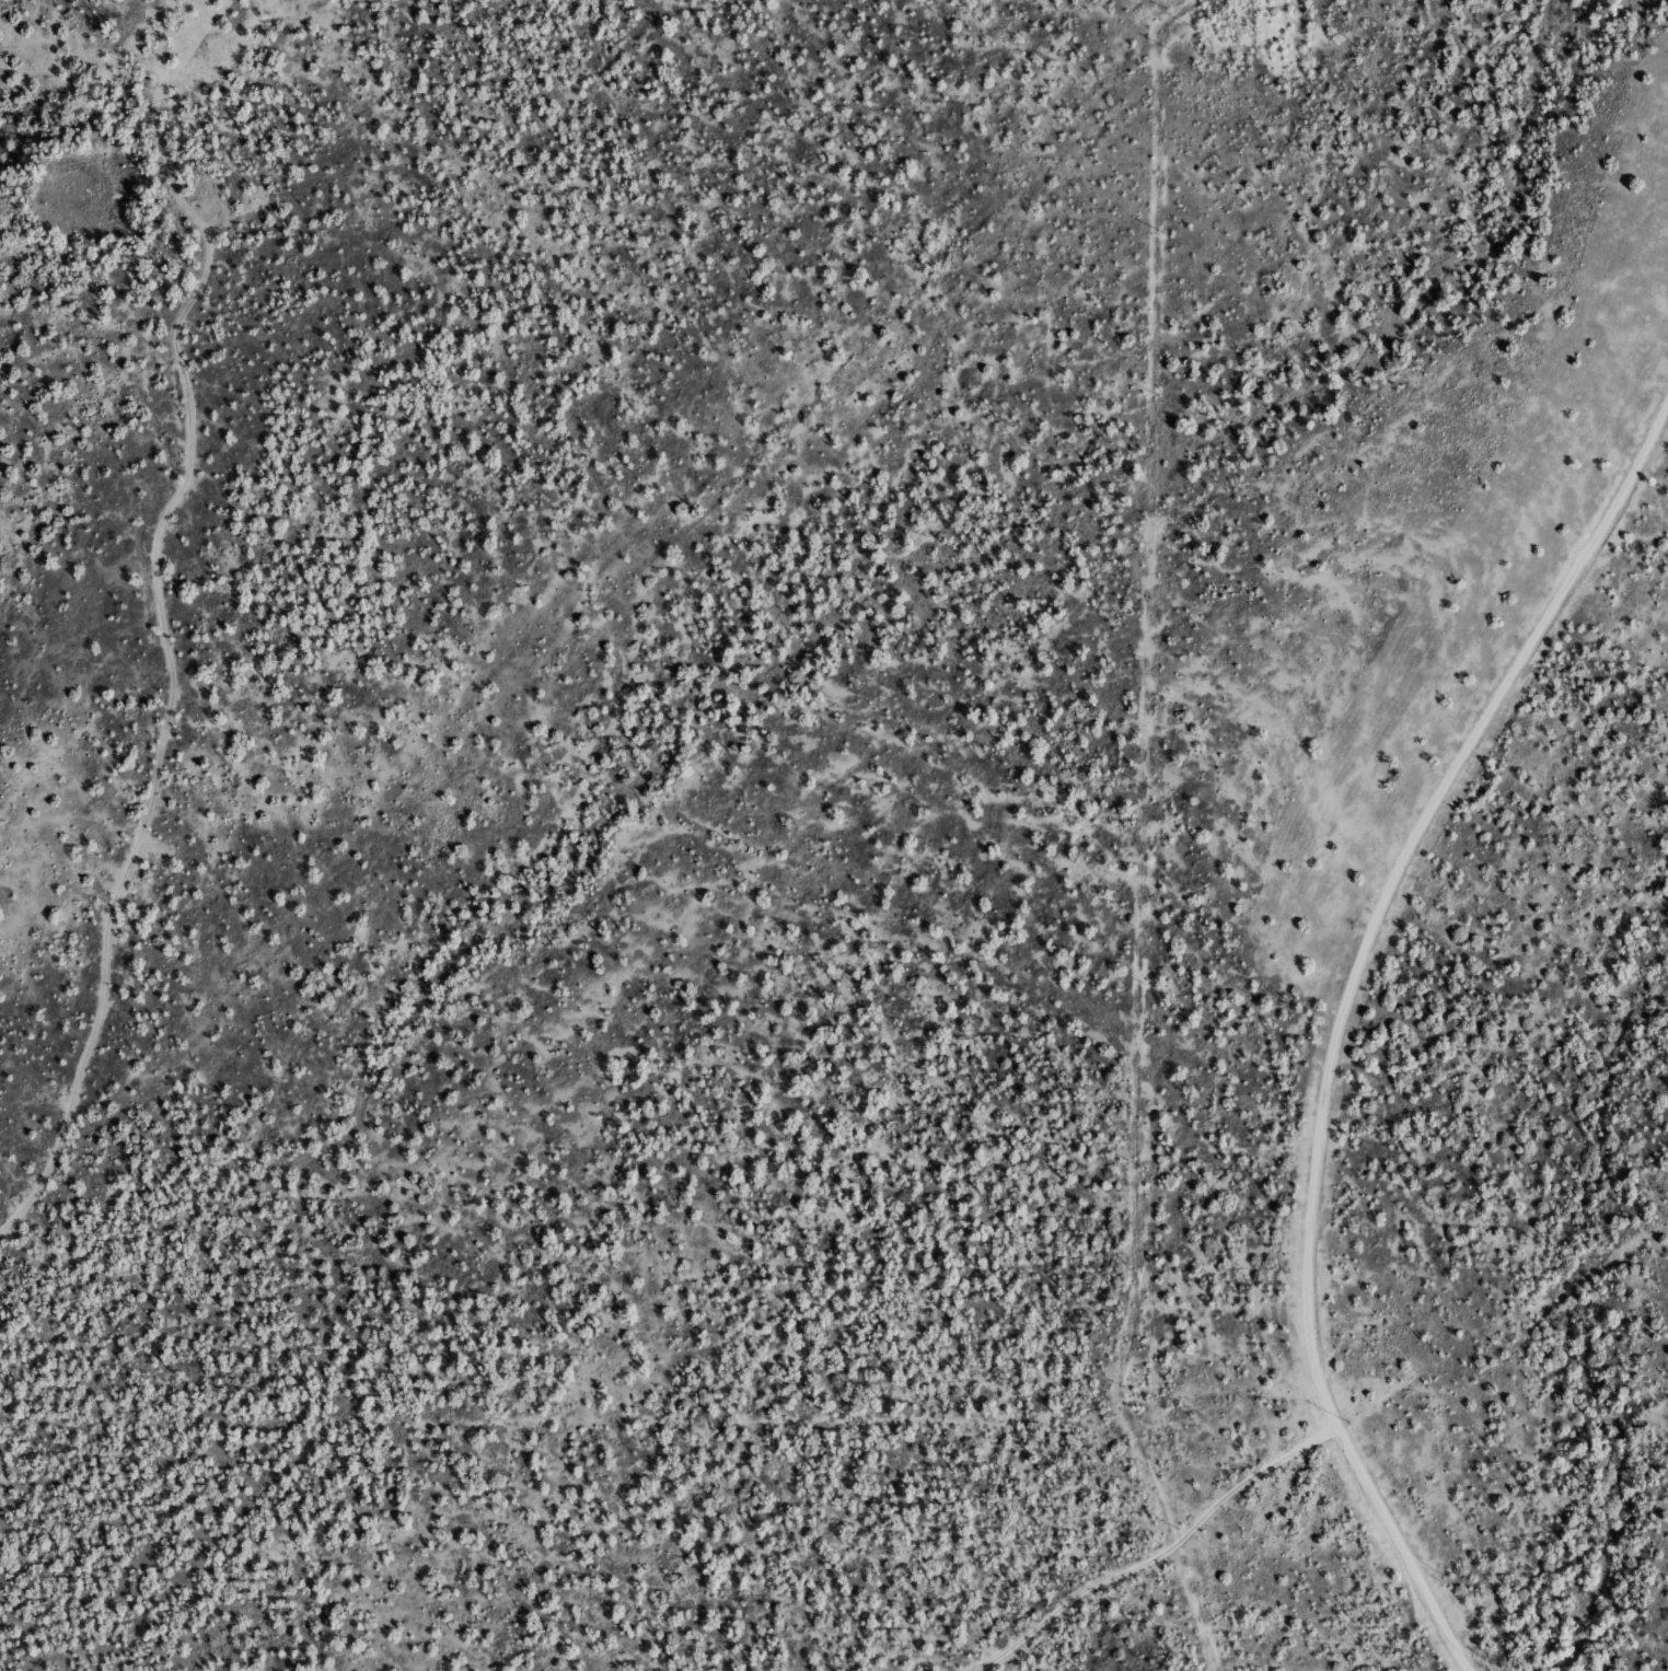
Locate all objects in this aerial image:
road: (170, 89)
road: (1345, 1020)

